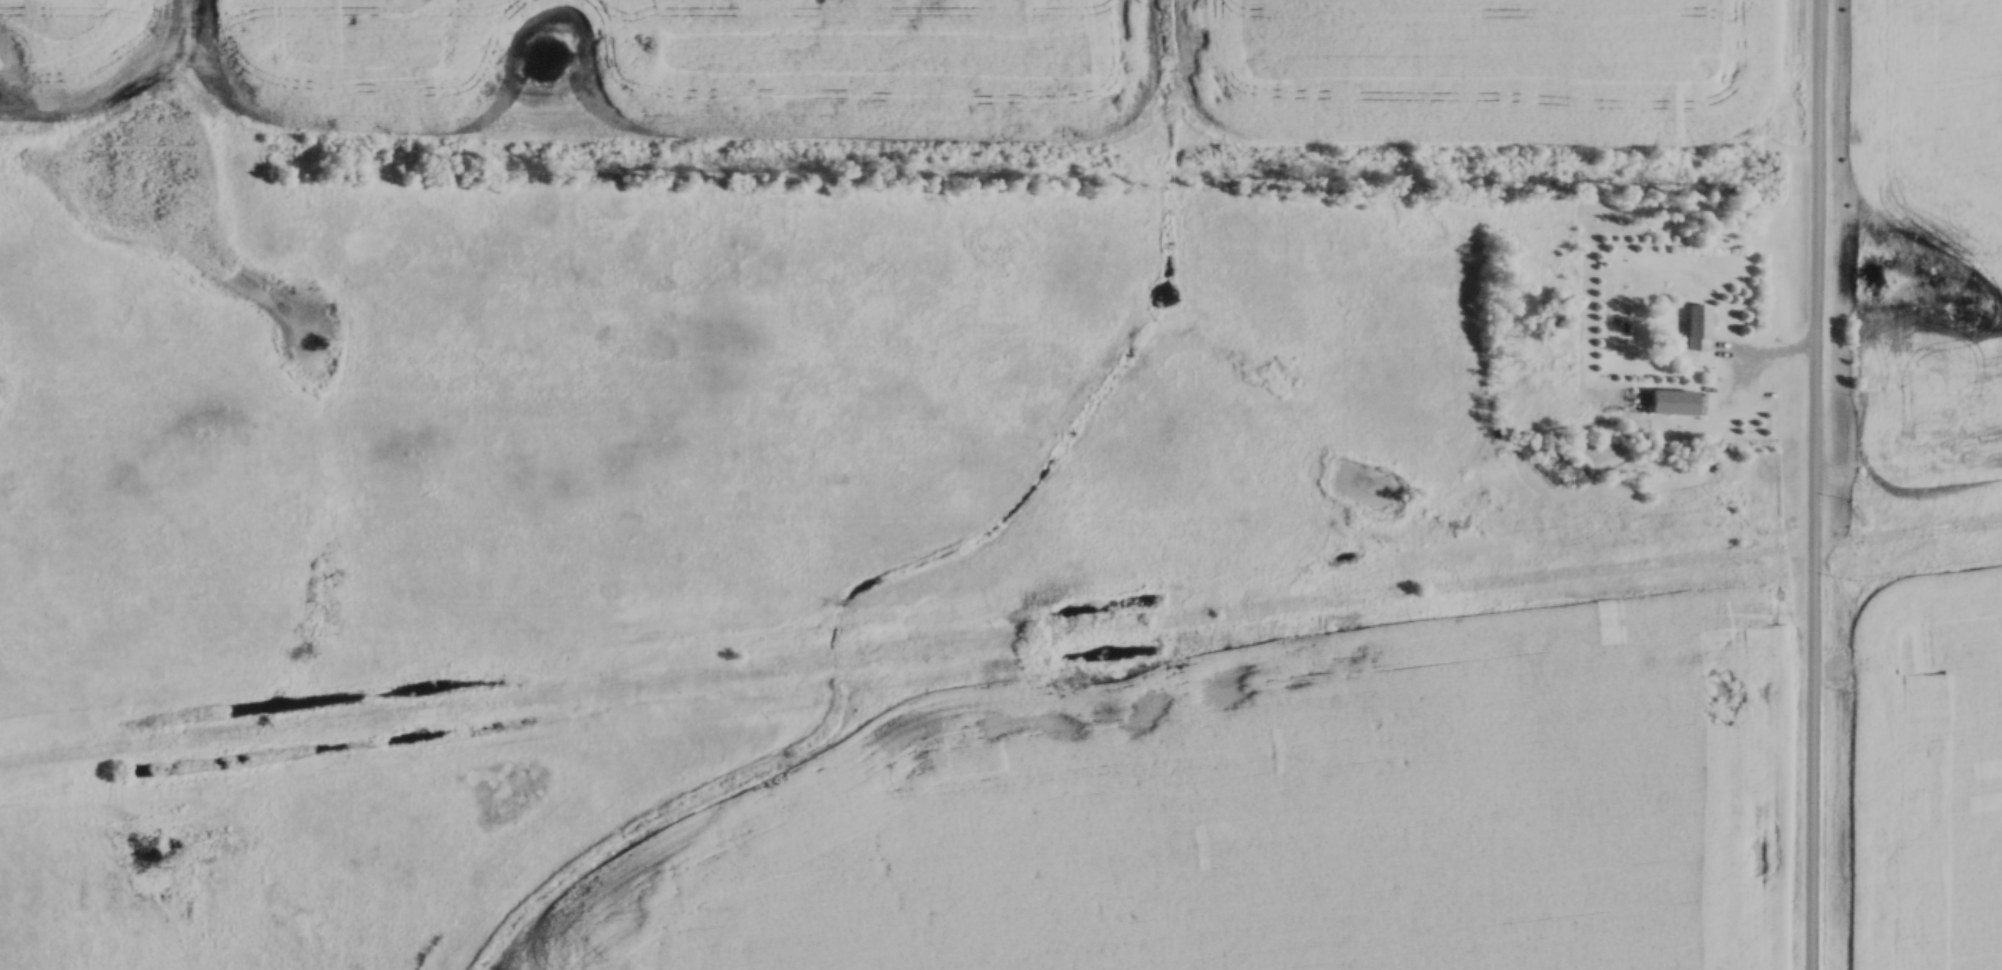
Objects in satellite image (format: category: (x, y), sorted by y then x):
building: (1694, 326)
building: (1669, 401)
road: (1816, 485)

